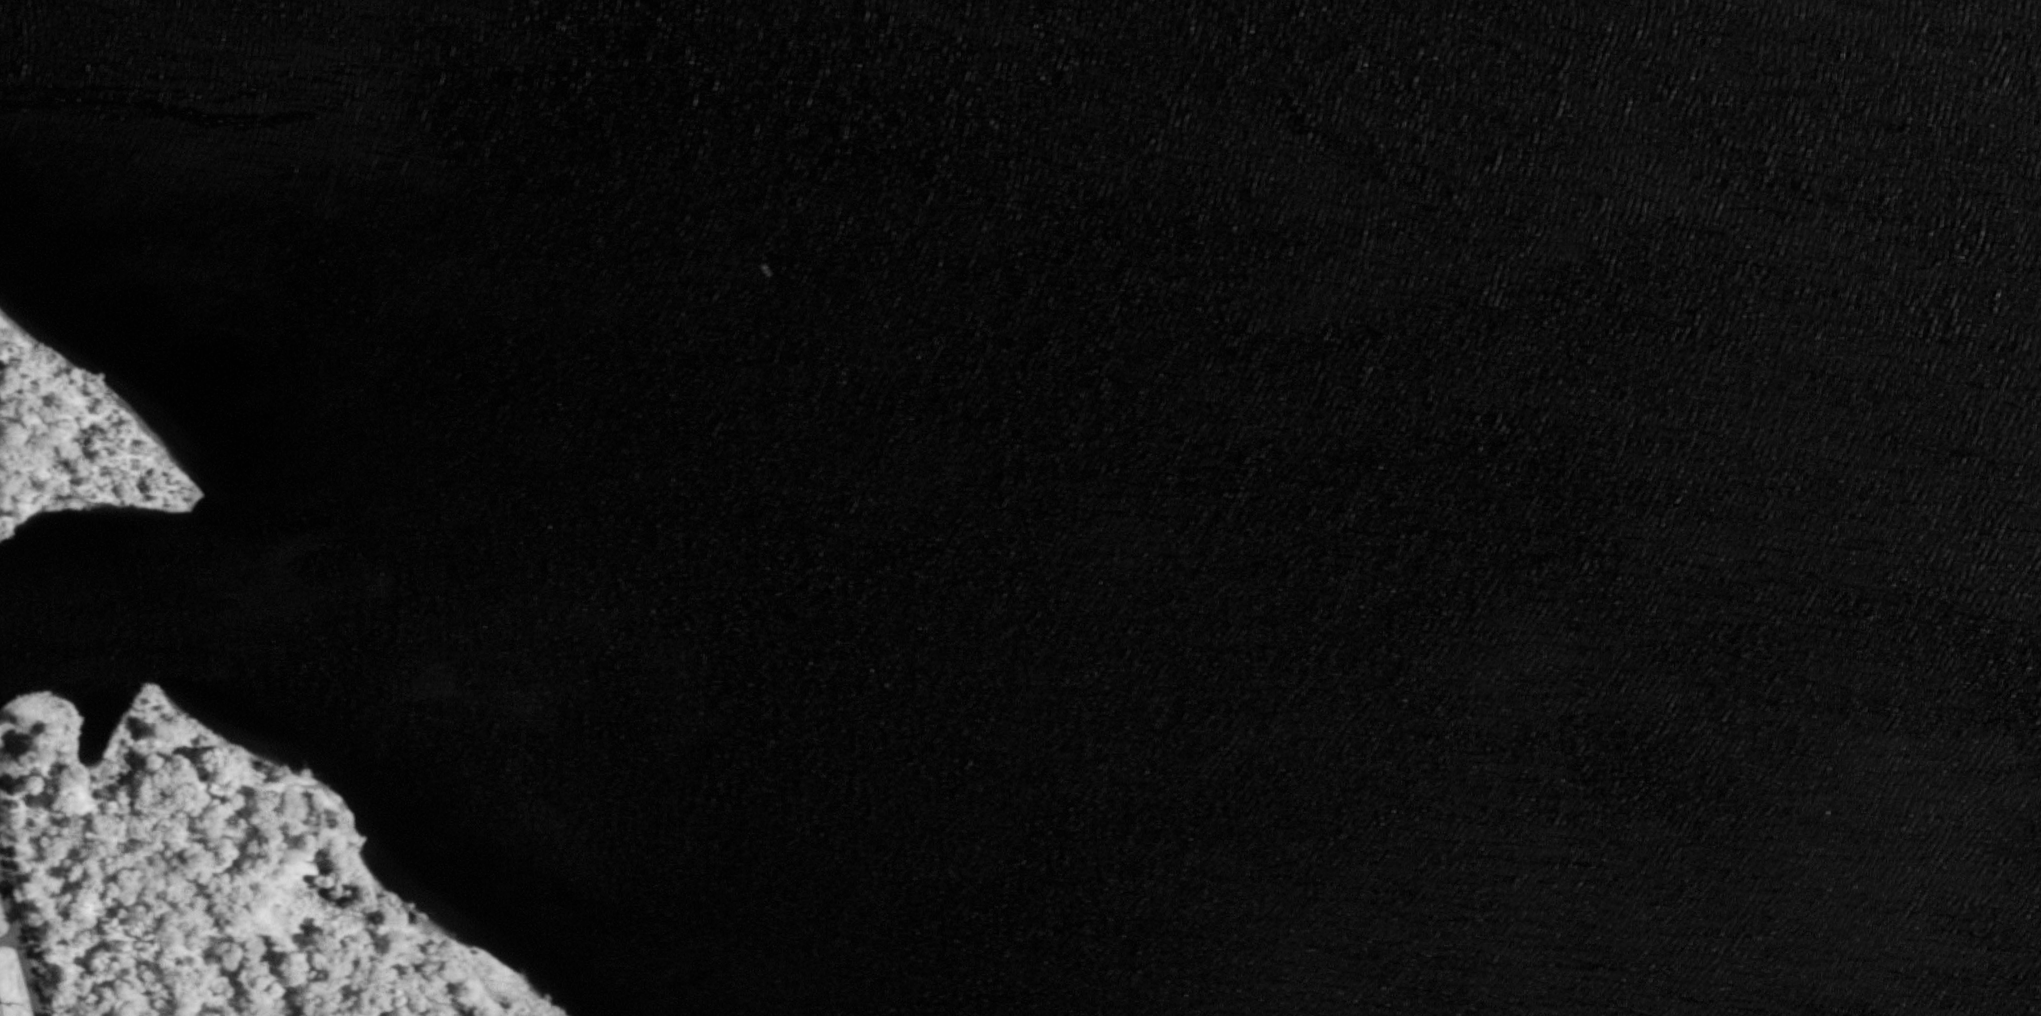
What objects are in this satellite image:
river: (1894, 132)
road: (8, 936)
road: (19, 944)

